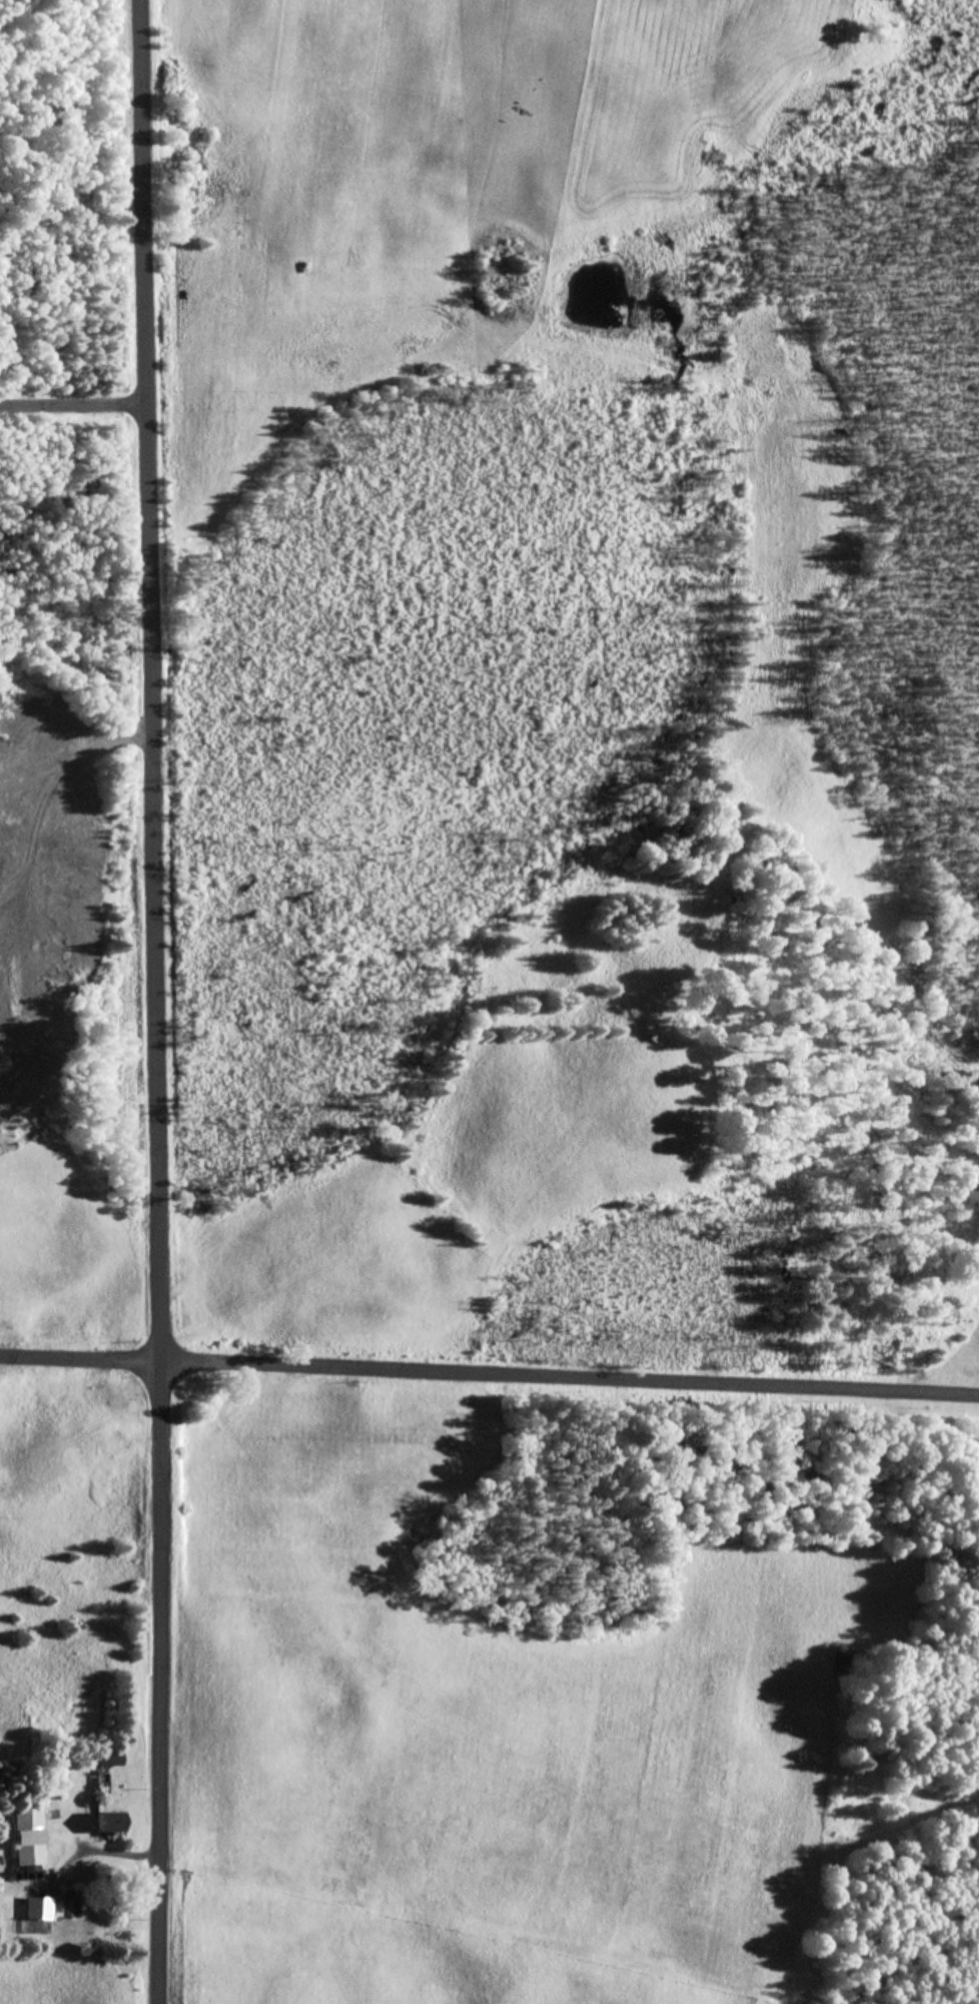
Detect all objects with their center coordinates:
road: (78, 404)
road: (157, 1001)
road: (82, 1359)
road: (572, 1377)
building: (108, 1762)
building: (111, 1825)
building: (30, 1840)
building: (74, 1905)

